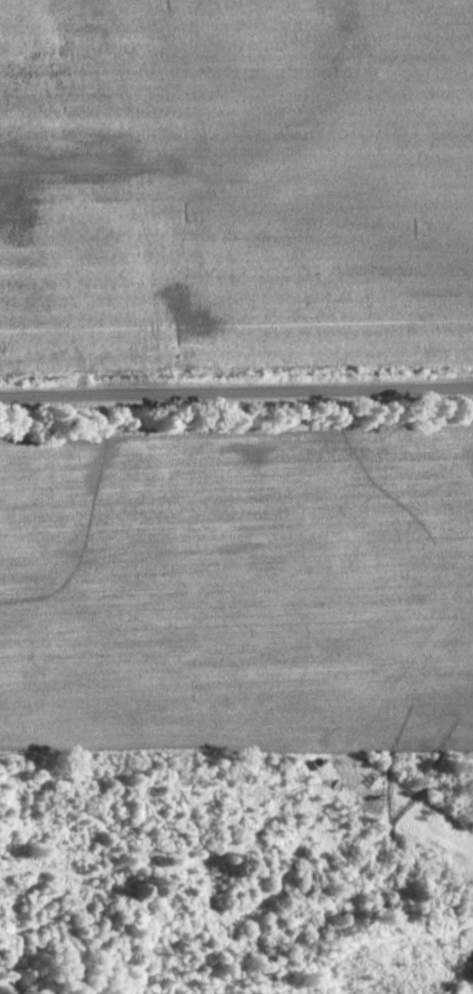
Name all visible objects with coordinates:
road: (236, 396)

